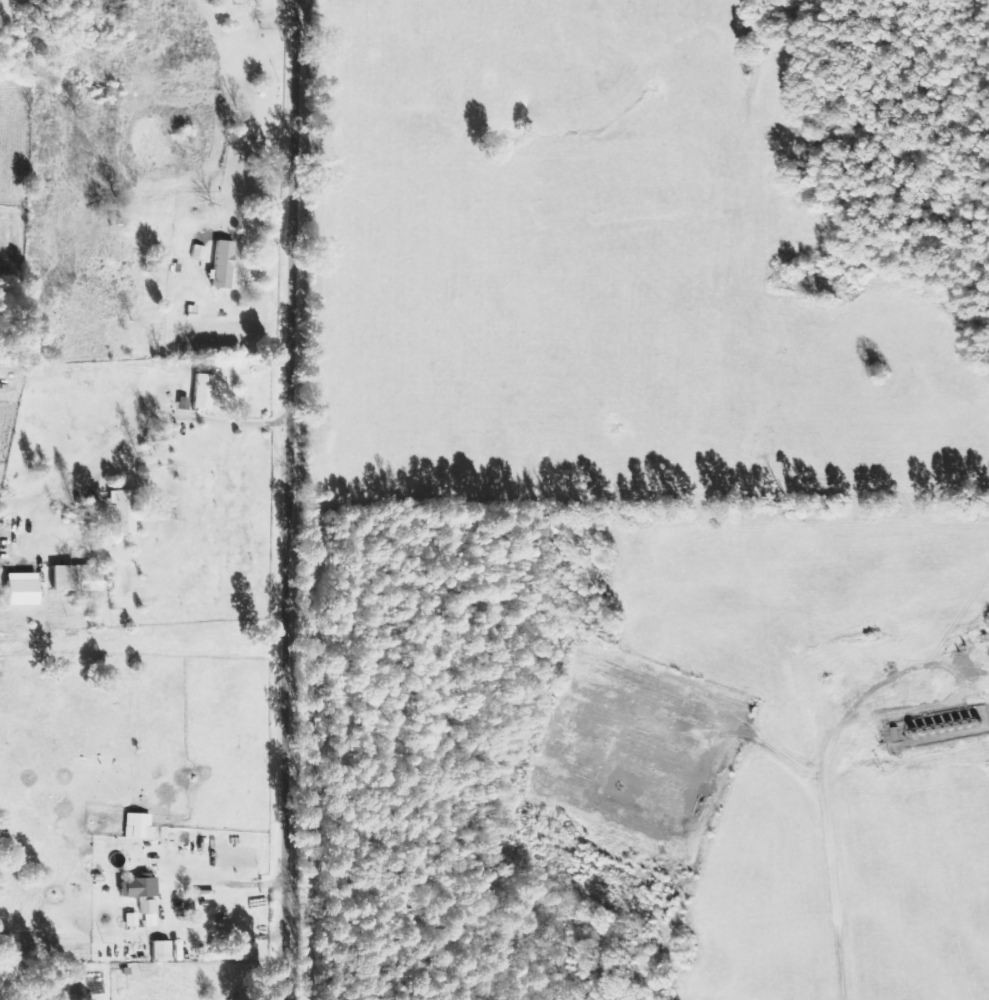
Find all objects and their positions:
building: (224, 265)
building: (206, 393)
road: (191, 418)
road: (285, 500)
building: (126, 513)
building: (78, 579)
building: (24, 590)
building: (140, 827)
building: (145, 896)
building: (163, 951)

